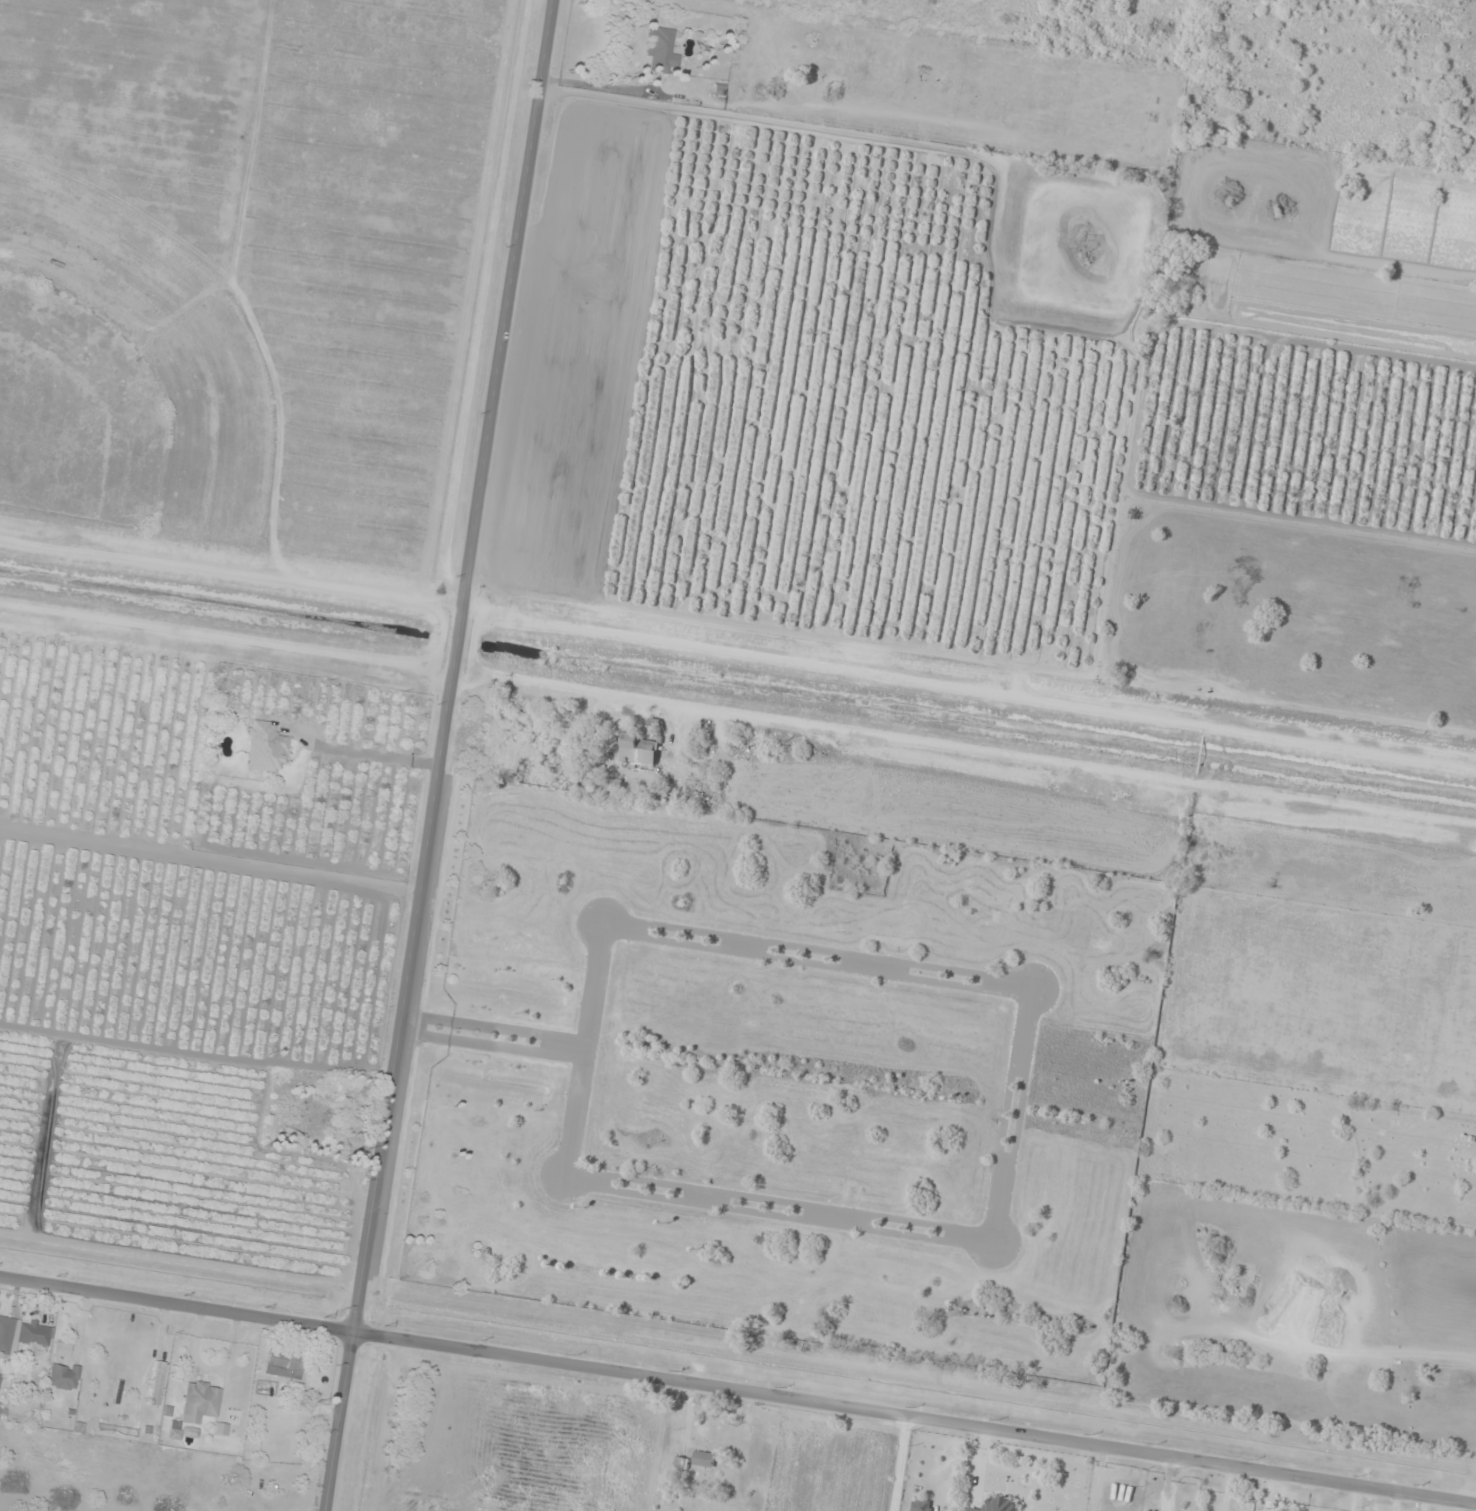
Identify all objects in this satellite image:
building: (662, 51)
building: (266, 748)
building: (639, 751)
road: (439, 755)
building: (610, 788)
building: (36, 1334)
building: (6, 1336)
building: (282, 1365)
building: (64, 1376)
building: (0, 1377)
building: (157, 1383)
road: (737, 1390)
building: (200, 1401)
building: (4, 1415)
building: (220, 1429)
building: (704, 1459)
building: (681, 1463)
road: (1227, 1489)
building: (999, 1504)
building: (921, 1505)

